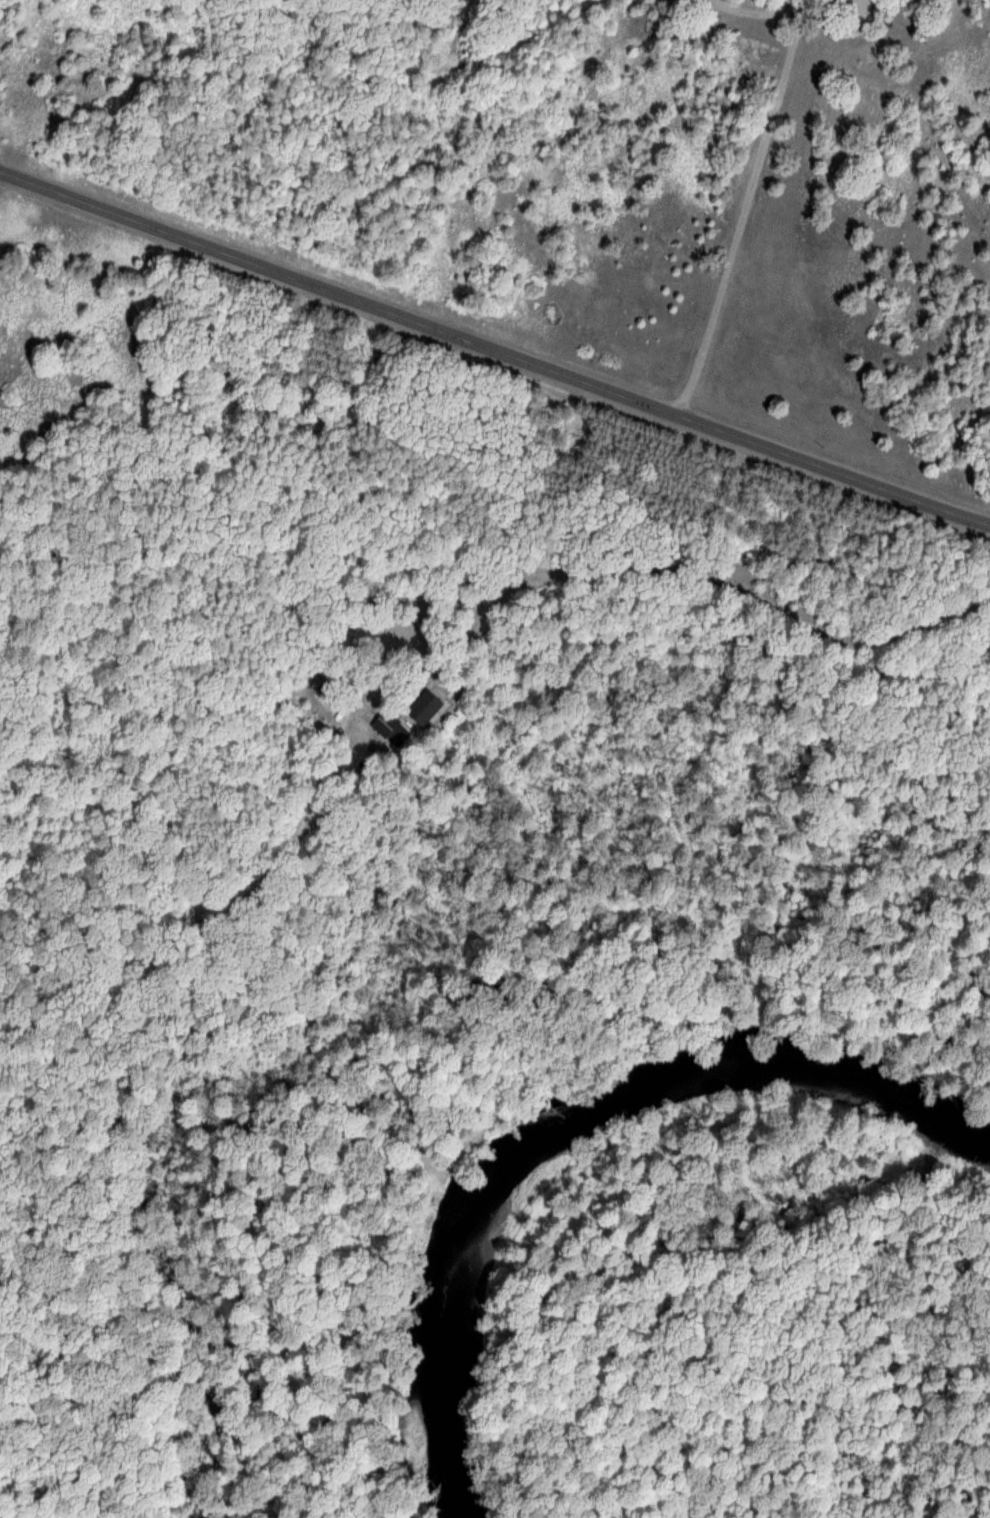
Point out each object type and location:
road: (738, 201)
road: (494, 343)
road: (734, 585)
building: (421, 707)
river: (565, 1115)

